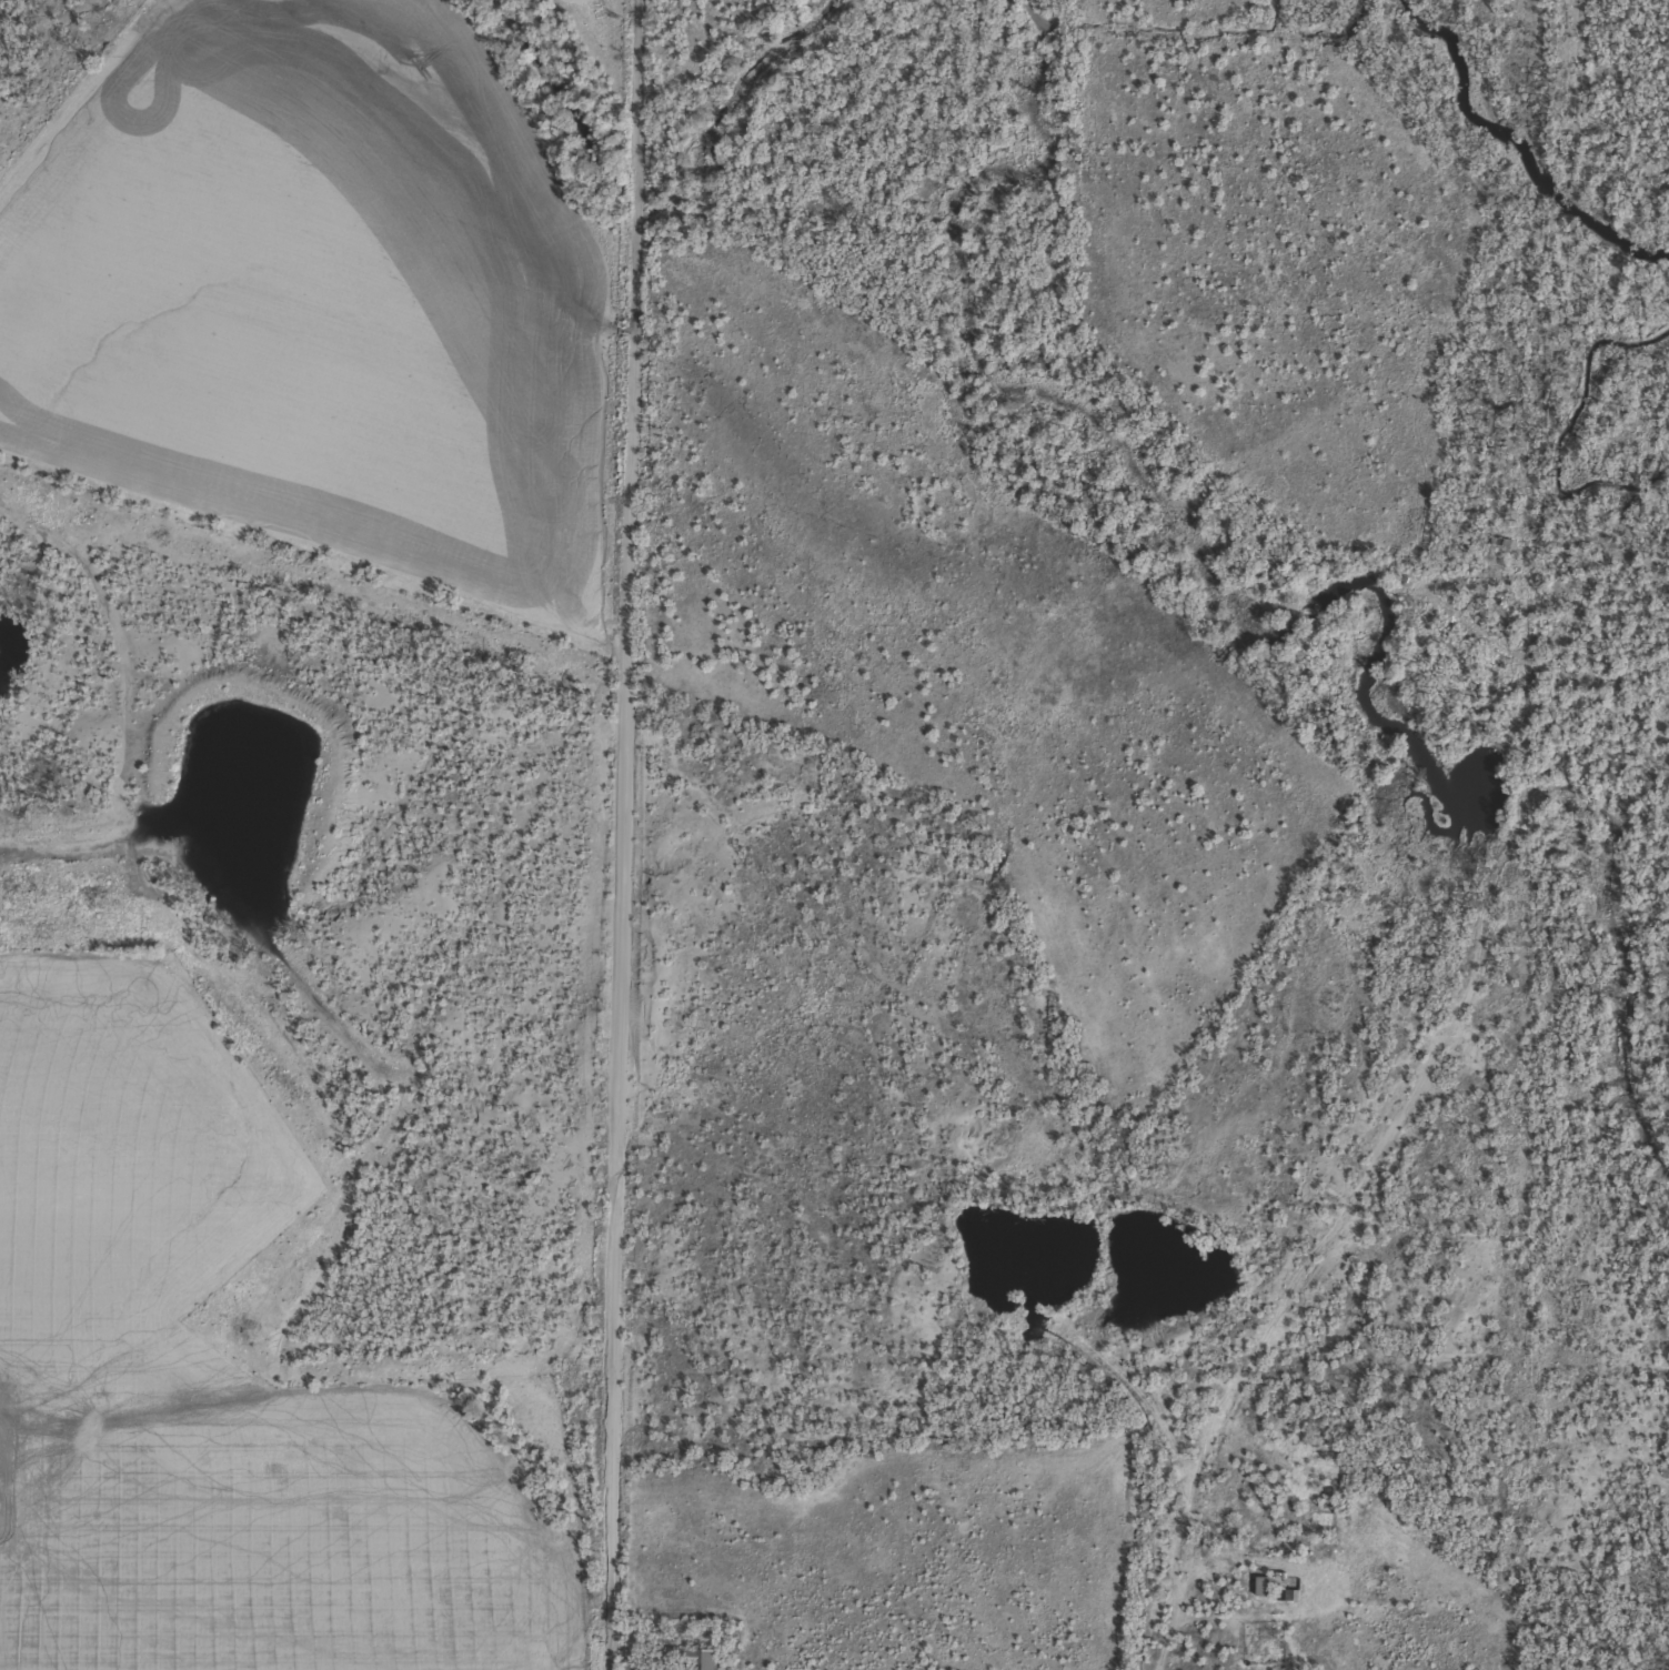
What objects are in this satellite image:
road: (594, 835)
building: (1265, 1587)
building: (693, 1659)

